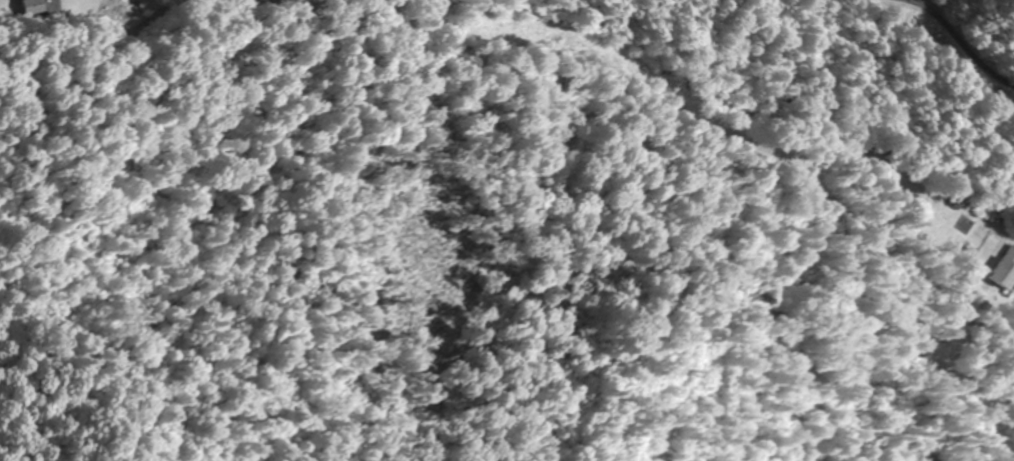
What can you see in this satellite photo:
building: (33, 6)
building: (1006, 270)
road: (1009, 292)

